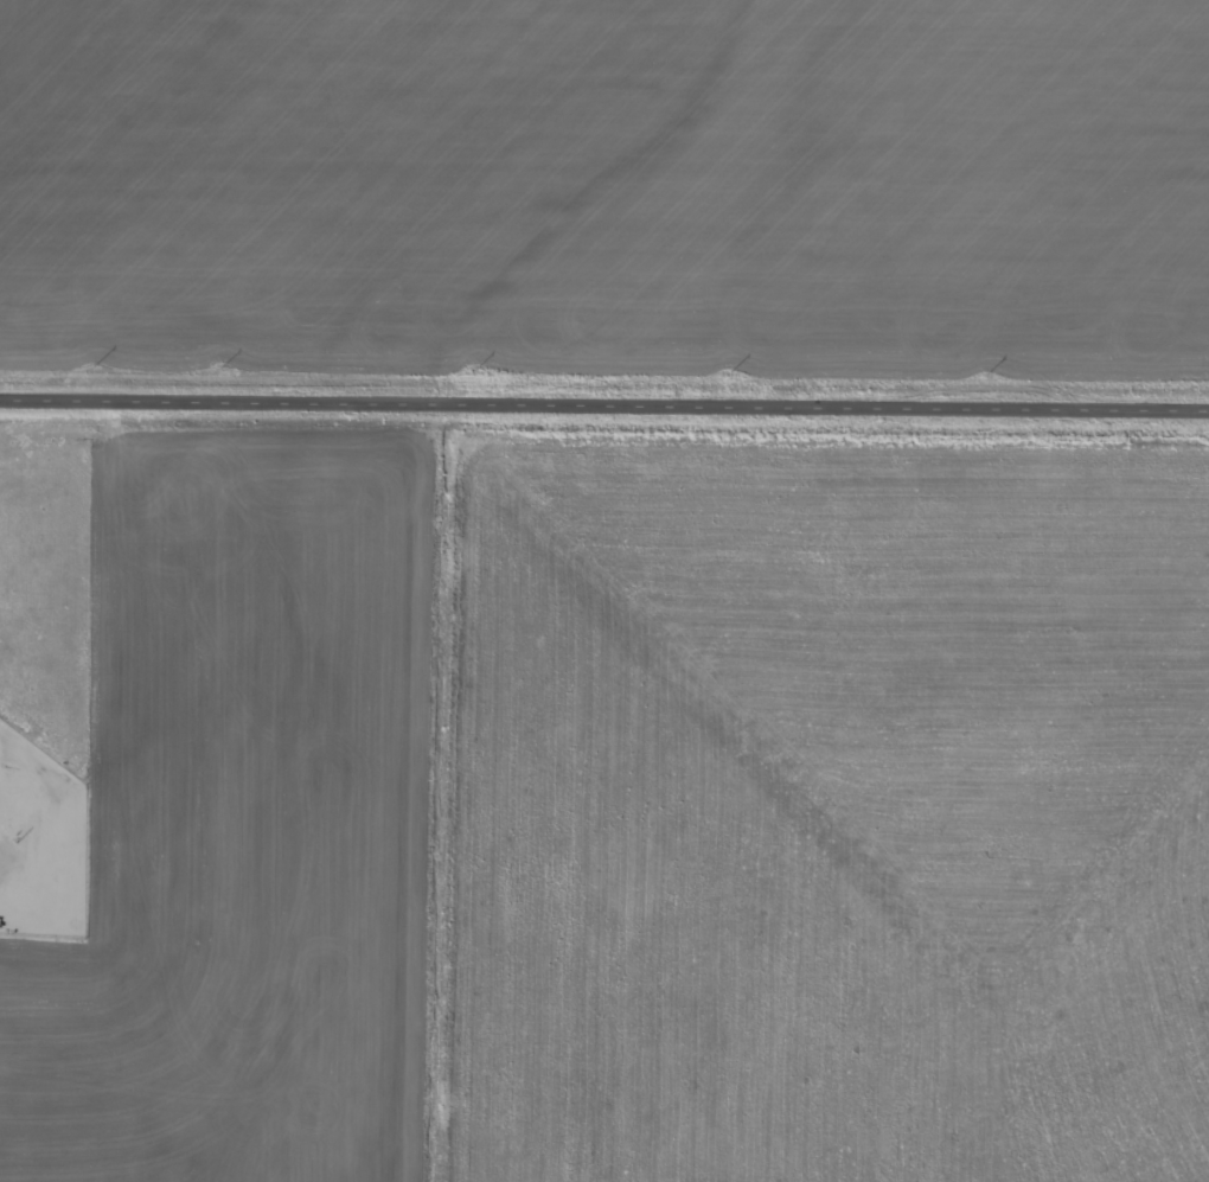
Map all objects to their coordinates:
road: (604, 411)

